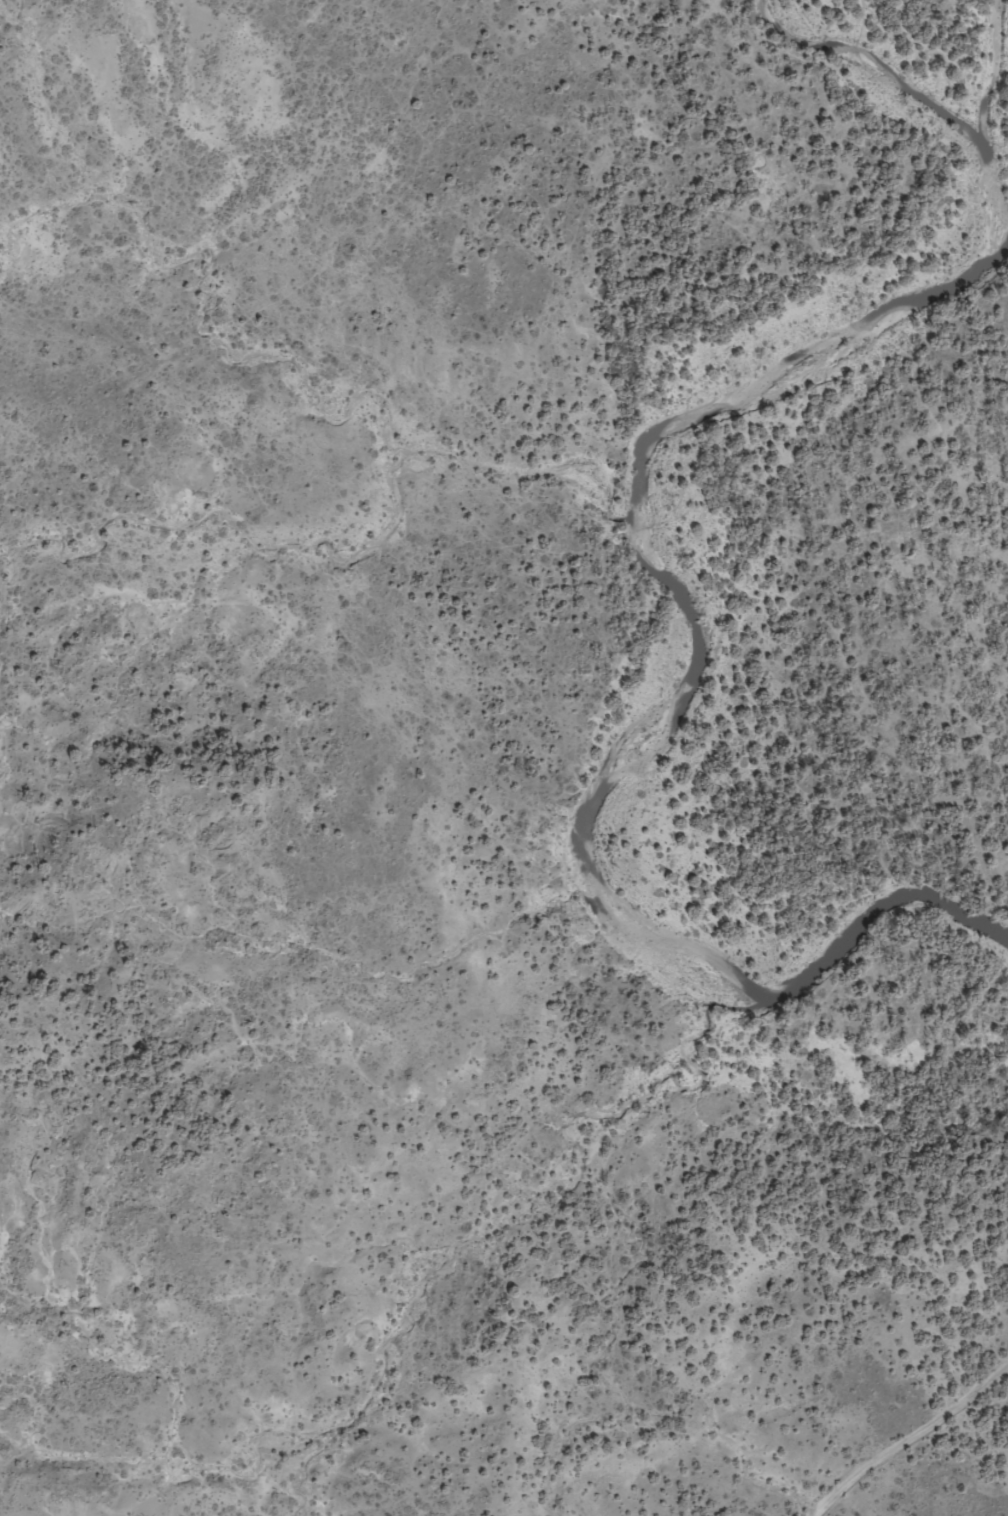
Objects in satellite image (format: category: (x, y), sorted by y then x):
road: (901, 1412)

